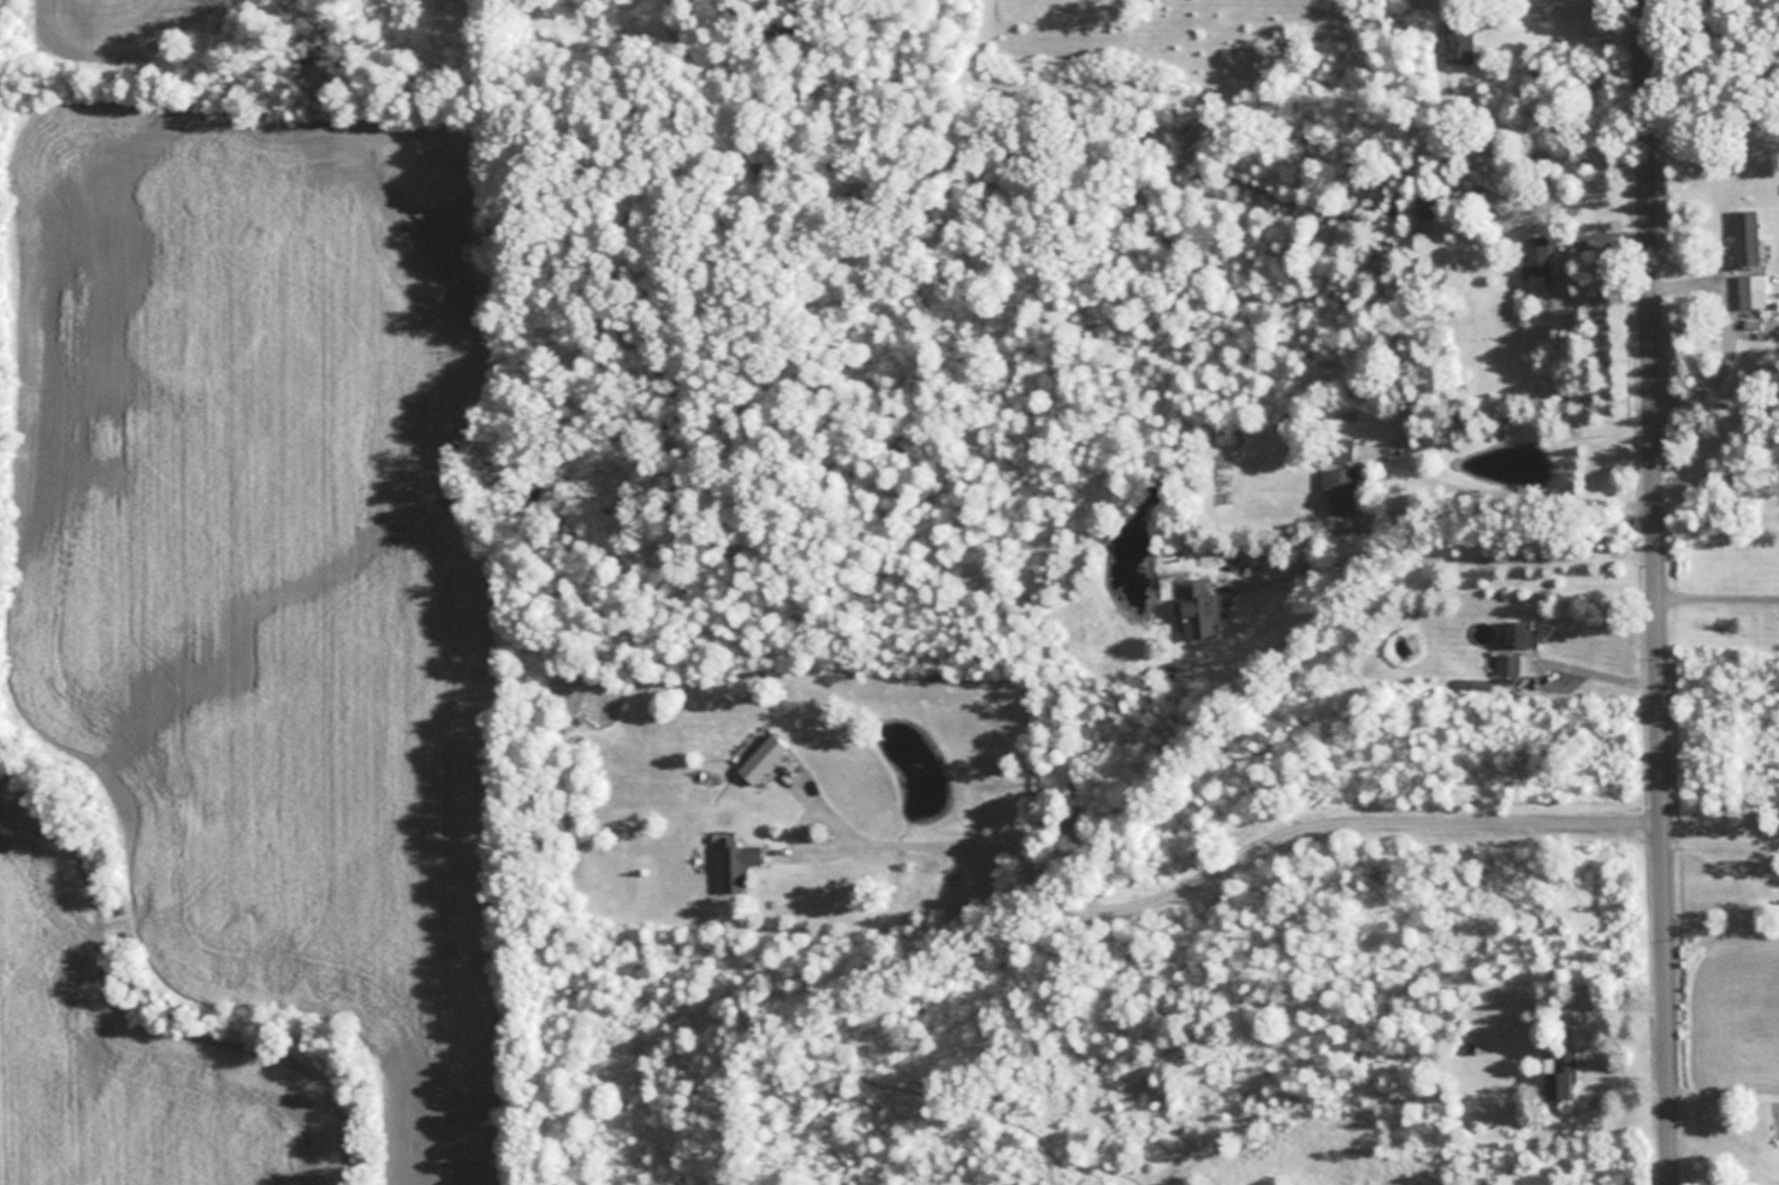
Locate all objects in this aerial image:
building: (1459, 40)
building: (1427, 207)
building: (1745, 238)
building: (1538, 261)
building: (1750, 290)
road: (1728, 327)
building: (1339, 448)
building: (1339, 487)
road: (1523, 494)
road: (1455, 556)
road: (1720, 581)
road: (1664, 592)
building: (1197, 608)
building: (1519, 633)
building: (1507, 664)
road: (1595, 664)
building: (765, 757)
road: (1724, 836)
road: (1234, 855)
building: (736, 861)
road: (1609, 1006)
building: (1560, 1073)
road: (1727, 1149)

